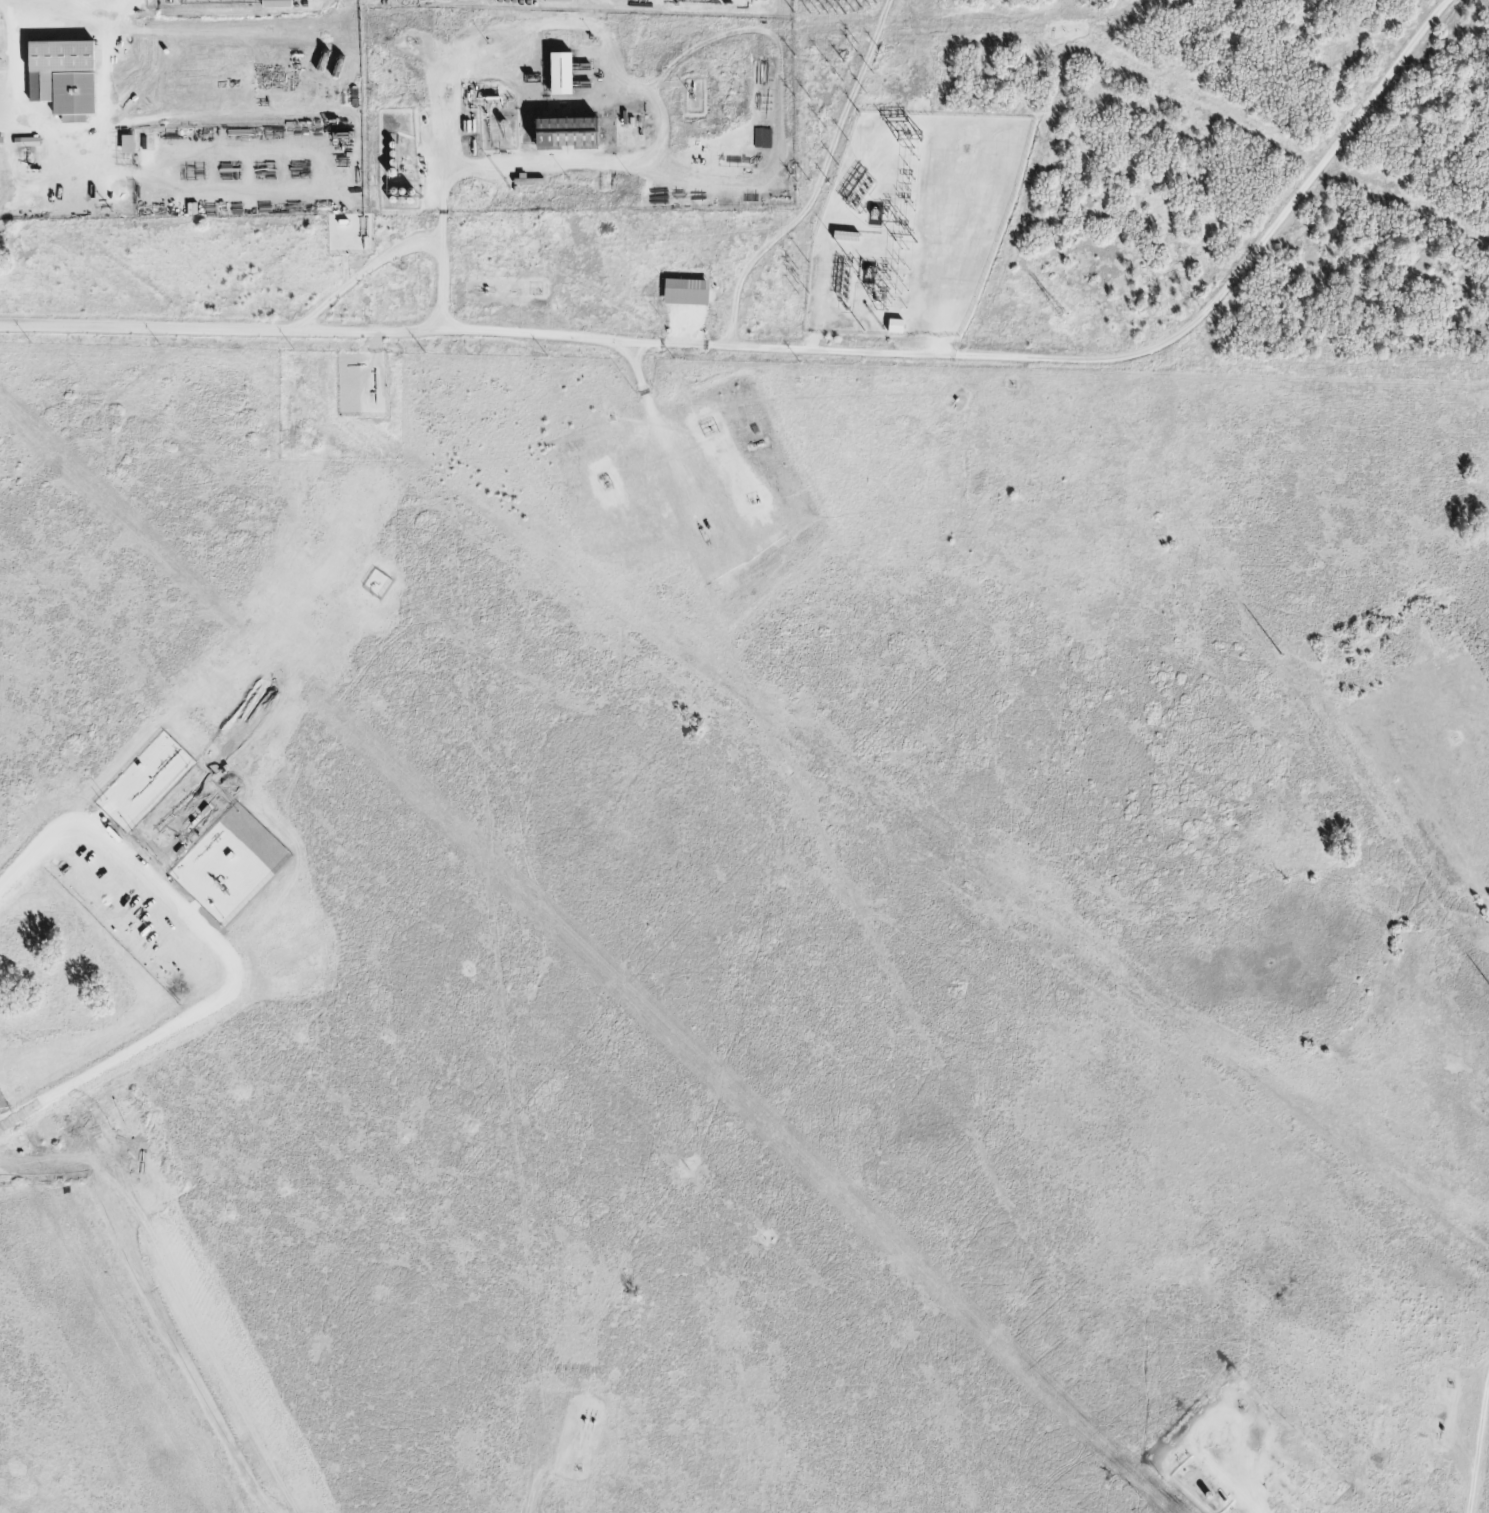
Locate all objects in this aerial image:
road: (14, 9)
road: (140, 9)
road: (782, 19)
road: (314, 22)
road: (619, 50)
building: (53, 57)
building: (550, 73)
road: (13, 76)
road: (278, 139)
road: (782, 152)
power substation: (912, 221)
building: (677, 292)
power tower: (1060, 313)
road: (809, 351)
road: (1478, 1446)
road: (541, 1460)

